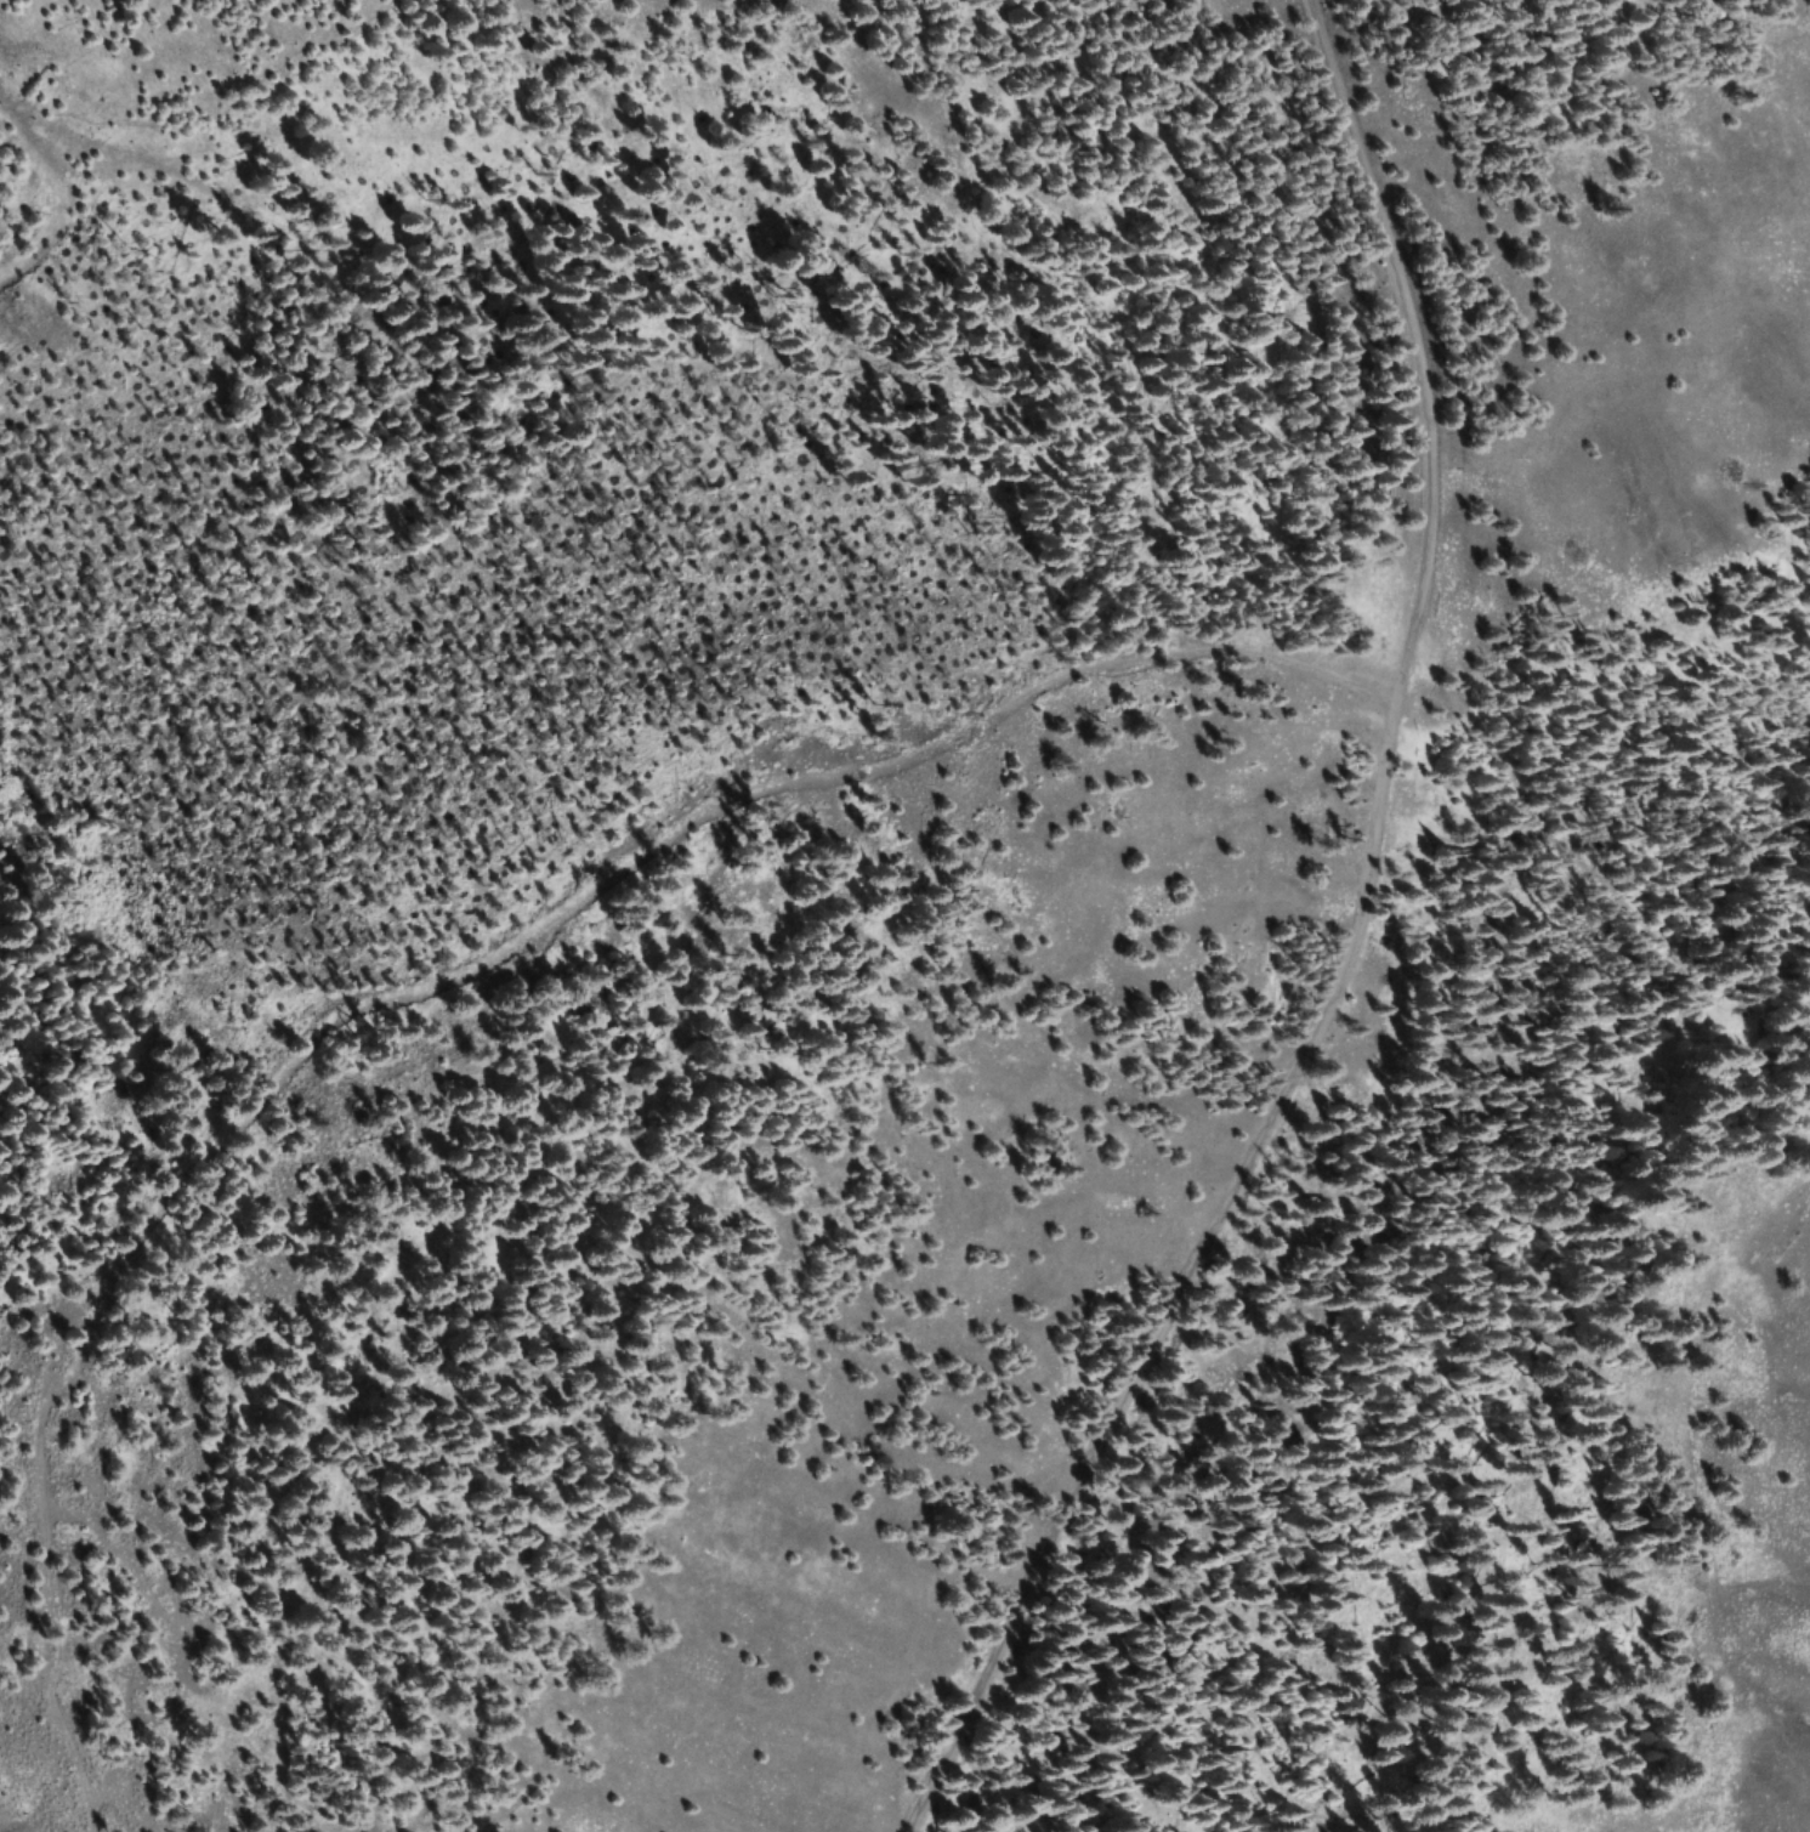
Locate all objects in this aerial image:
road: (1468, 413)
road: (1645, 908)
road: (1241, 1342)

